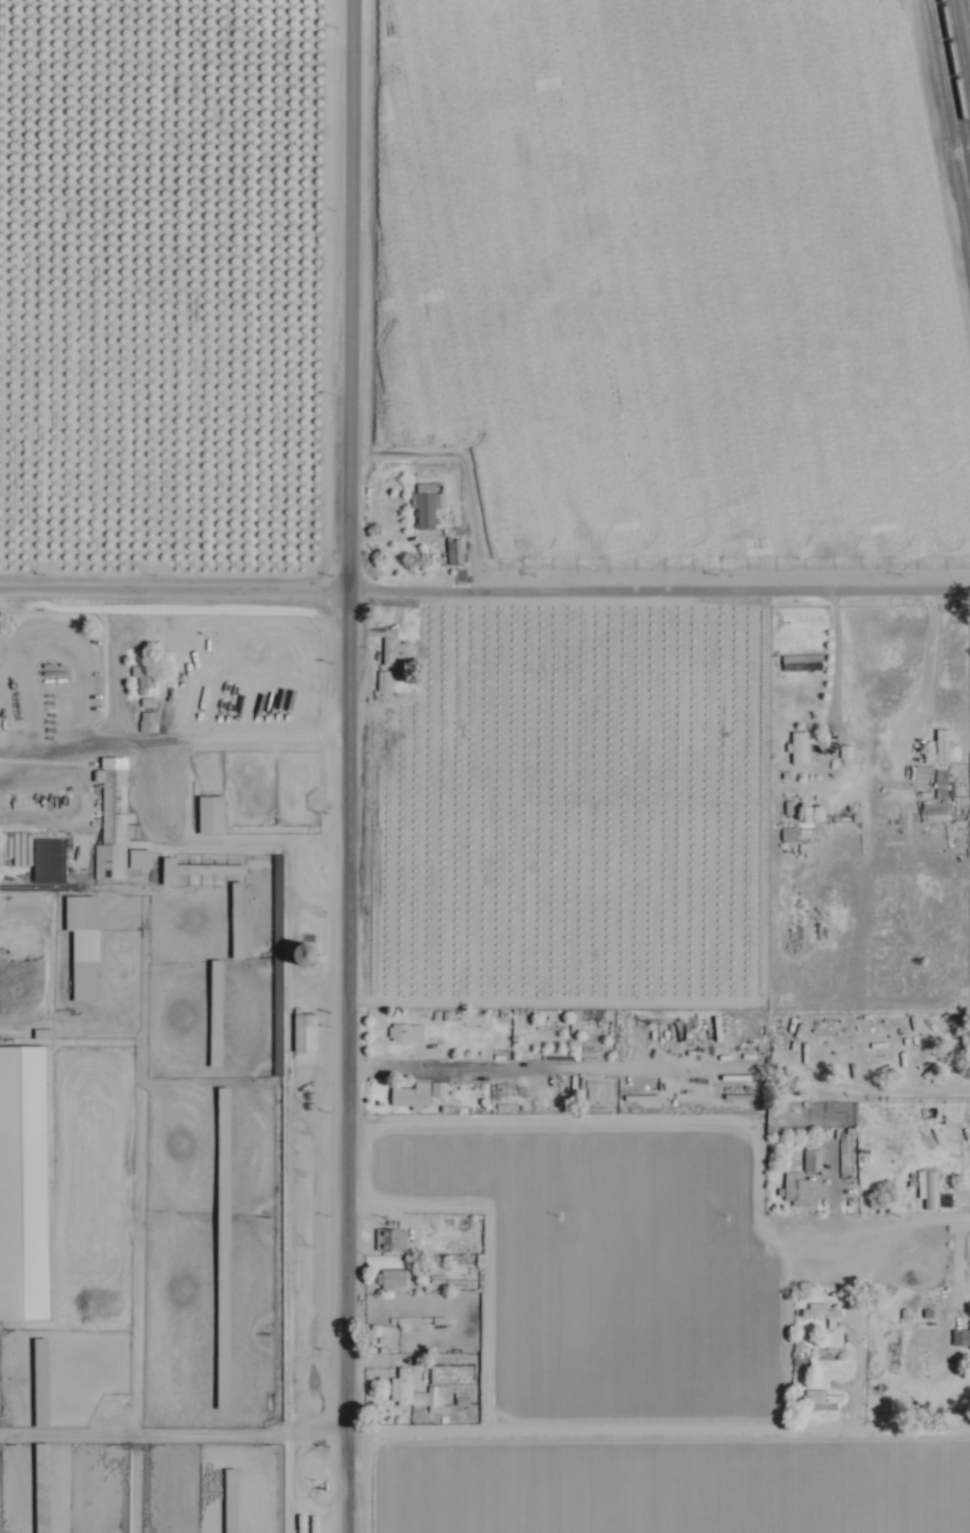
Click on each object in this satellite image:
railway: (968, 7)
railway: (958, 63)
railway: (955, 79)
railway: (952, 94)
railway: (948, 118)
crop: (949, 129)
railway: (944, 141)
road: (355, 291)
building: (429, 507)
building: (455, 551)
road: (177, 581)
road: (662, 582)
road: (834, 645)
building: (398, 651)
building: (803, 660)
road: (924, 664)
building: (145, 676)
building: (385, 679)
building: (148, 700)
building: (151, 716)
building: (800, 745)
building: (941, 747)
building: (846, 750)
building: (925, 770)
building: (213, 813)
road: (154, 817)
building: (114, 819)
building: (141, 857)
building: (239, 918)
building: (85, 944)
building: (218, 982)
road: (759, 991)
building: (407, 1029)
building: (307, 1030)
road: (351, 1057)
building: (28, 1060)
road: (661, 1069)
building: (597, 1089)
building: (418, 1092)
road: (617, 1118)
building: (813, 1158)
building: (930, 1186)
building: (796, 1187)
building: (391, 1237)
road: (484, 1250)
building: (395, 1277)
building: (41, 1305)
building: (823, 1311)
building: (962, 1335)
building: (42, 1380)
building: (415, 1390)
building: (822, 1394)
road: (872, 1428)
road: (577, 1429)
building: (43, 1449)
building: (232, 1499)

